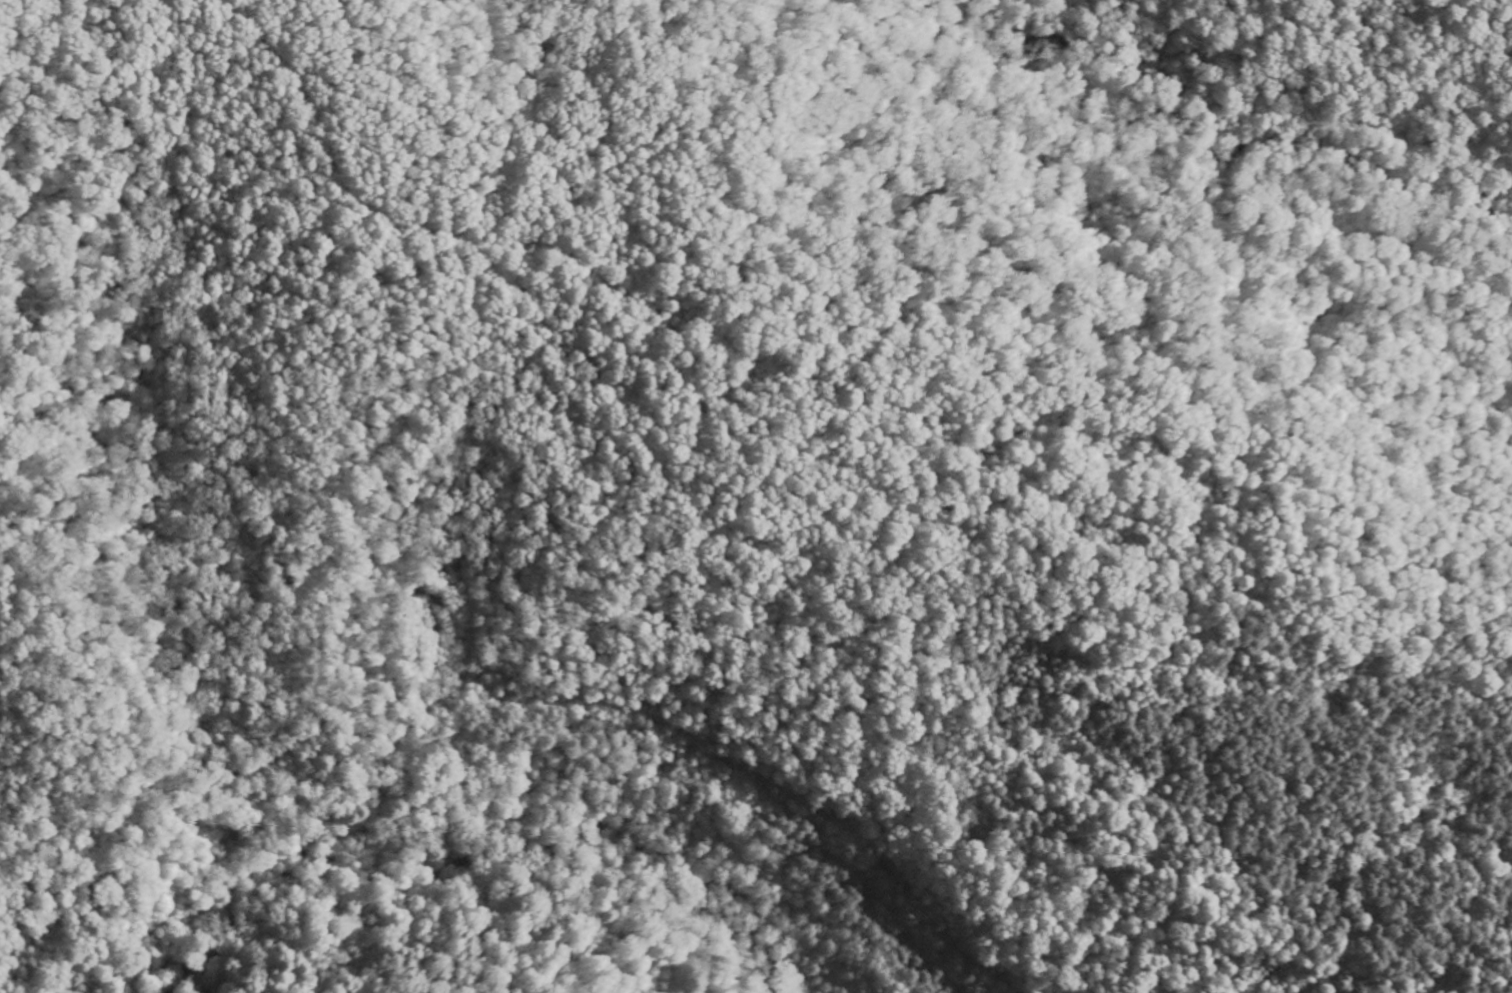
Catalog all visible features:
road: (1281, 112)
road: (475, 133)
road: (335, 191)

